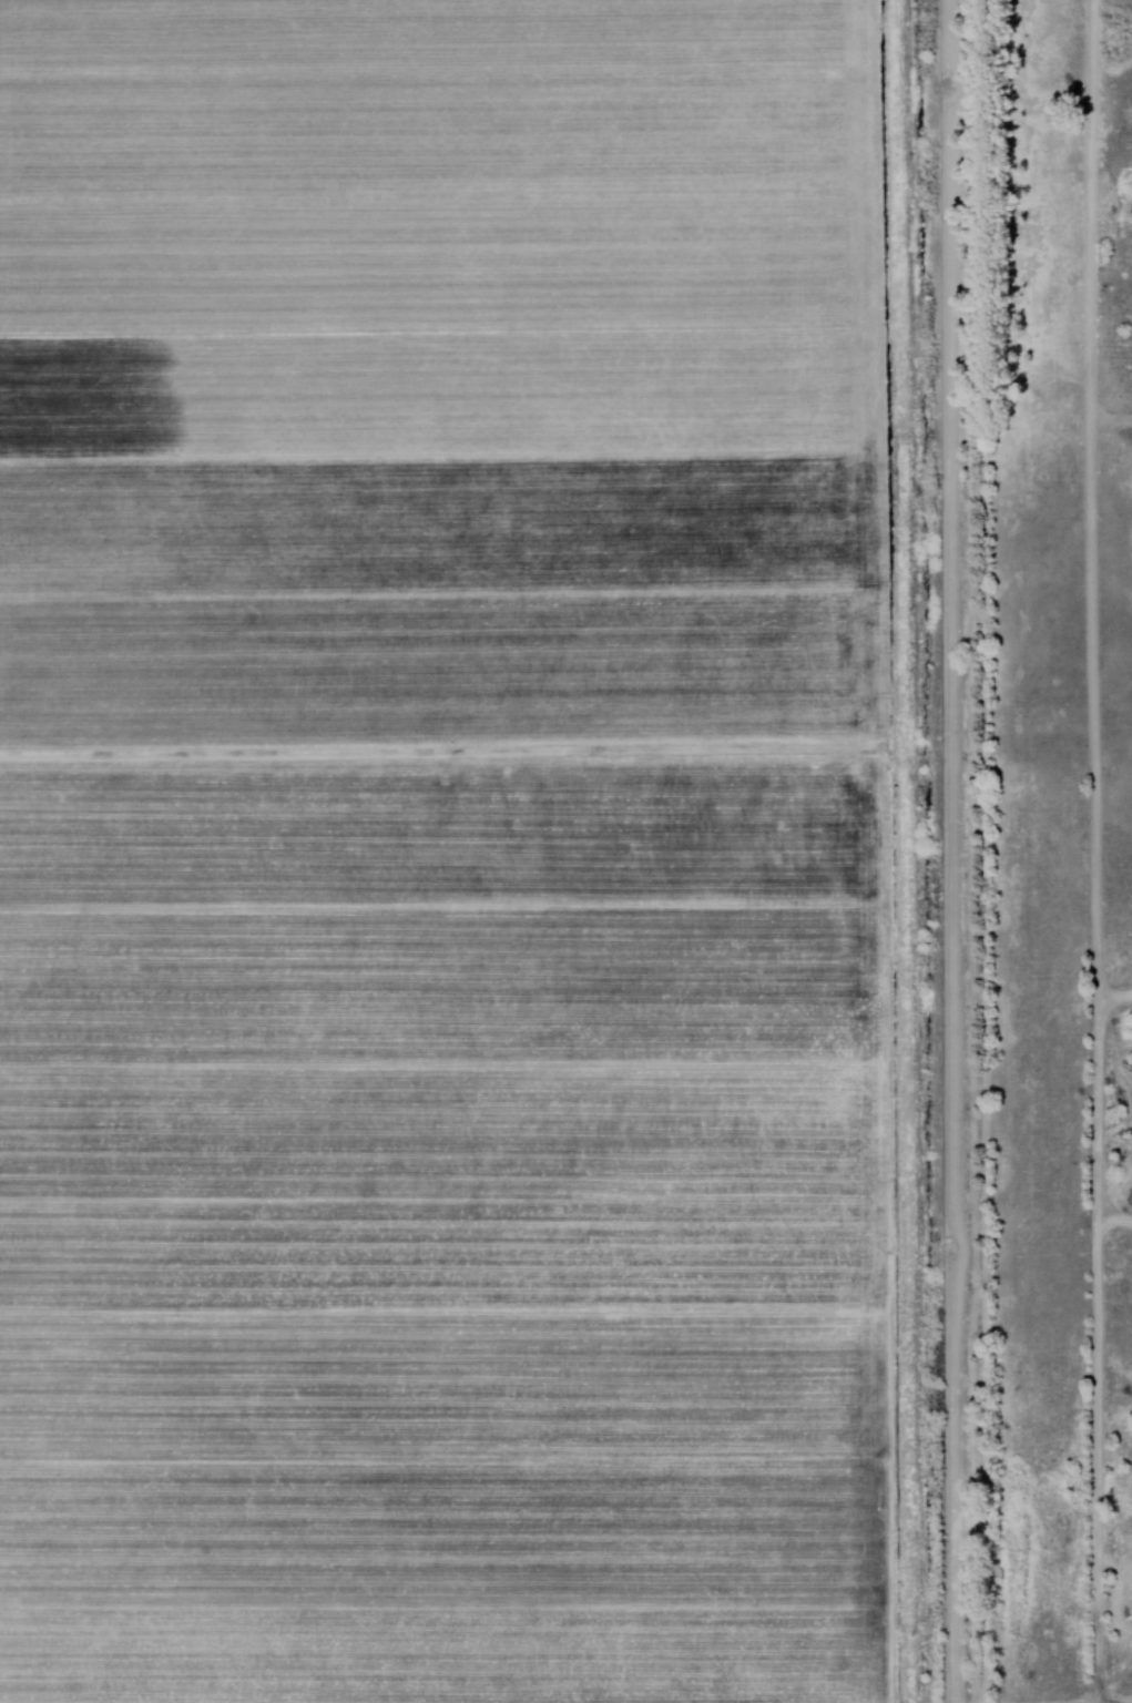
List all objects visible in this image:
road: (908, 850)

